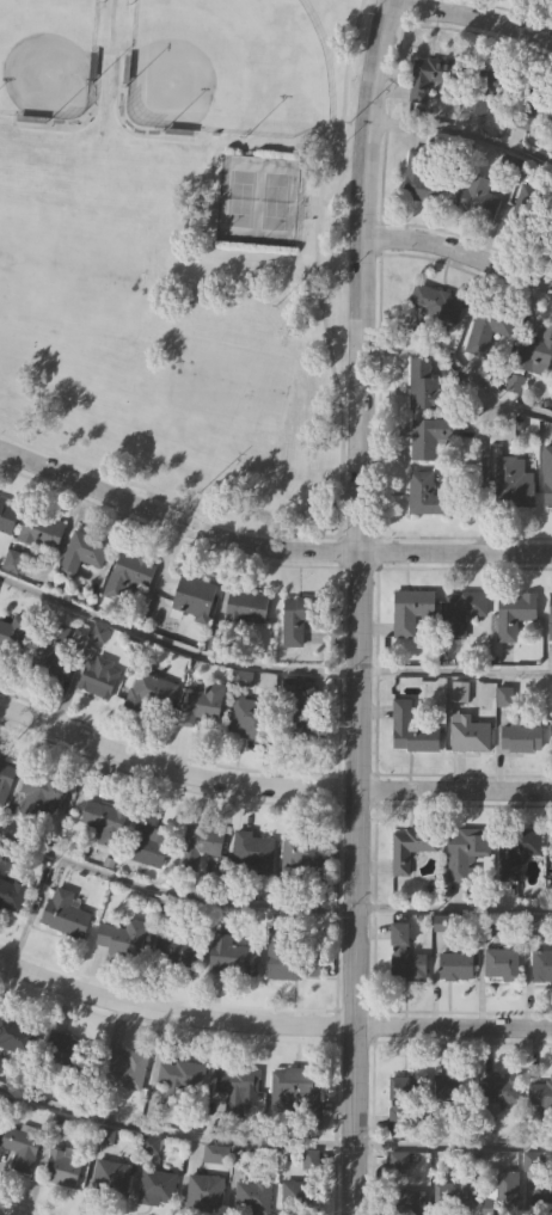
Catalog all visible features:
road: (471, 13)
road: (110, 25)
park: (45, 56)
park: (227, 67)
building: (428, 80)
building: (484, 88)
building: (530, 111)
road: (460, 133)
road: (306, 151)
building: (430, 178)
building: (478, 197)
park: (241, 198)
park: (276, 201)
road: (331, 205)
park: (179, 246)
road: (459, 250)
building: (434, 303)
building: (486, 329)
building: (535, 352)
building: (428, 394)
building: (429, 436)
road: (341, 443)
road: (482, 444)
building: (547, 477)
building: (513, 483)
building: (424, 495)
road: (173, 514)
building: (7, 515)
building: (42, 530)
road: (336, 544)
road: (454, 550)
building: (82, 552)
building: (128, 573)
building: (194, 597)
building: (247, 606)
road: (355, 606)
building: (411, 610)
building: (461, 612)
building: (514, 613)
building: (300, 615)
building: (550, 615)
building: (13, 638)
building: (55, 652)
road: (268, 665)
building: (99, 675)
building: (151, 693)
building: (202, 702)
building: (249, 714)
building: (298, 722)
building: (410, 730)
building: (467, 734)
building: (521, 737)
building: (551, 738)
building: (6, 777)
road: (269, 785)
building: (44, 793)
building: (105, 820)
building: (147, 840)
building: (198, 843)
building: (409, 847)
building: (515, 849)
building: (465, 851)
building: (252, 852)
building: (300, 854)
building: (11, 895)
road: (269, 909)
building: (65, 913)
building: (122, 937)
building: (176, 951)
building: (231, 956)
building: (405, 956)
building: (294, 961)
building: (455, 965)
building: (502, 965)
building: (541, 965)
road: (270, 1021)
building: (17, 1032)
building: (66, 1050)
building: (124, 1068)
road: (155, 1069)
building: (180, 1078)
building: (235, 1080)
building: (453, 1087)
building: (294, 1088)
building: (501, 1090)
building: (540, 1094)
building: (403, 1100)
road: (173, 1134)
building: (20, 1148)
road: (452, 1148)
building: (398, 1161)
building: (63, 1166)
building: (111, 1177)
building: (157, 1188)
building: (206, 1191)
building: (499, 1191)
building: (252, 1196)
building: (453, 1196)
building: (541, 1196)
building: (300, 1197)
building: (407, 1202)
road: (2, 1214)

